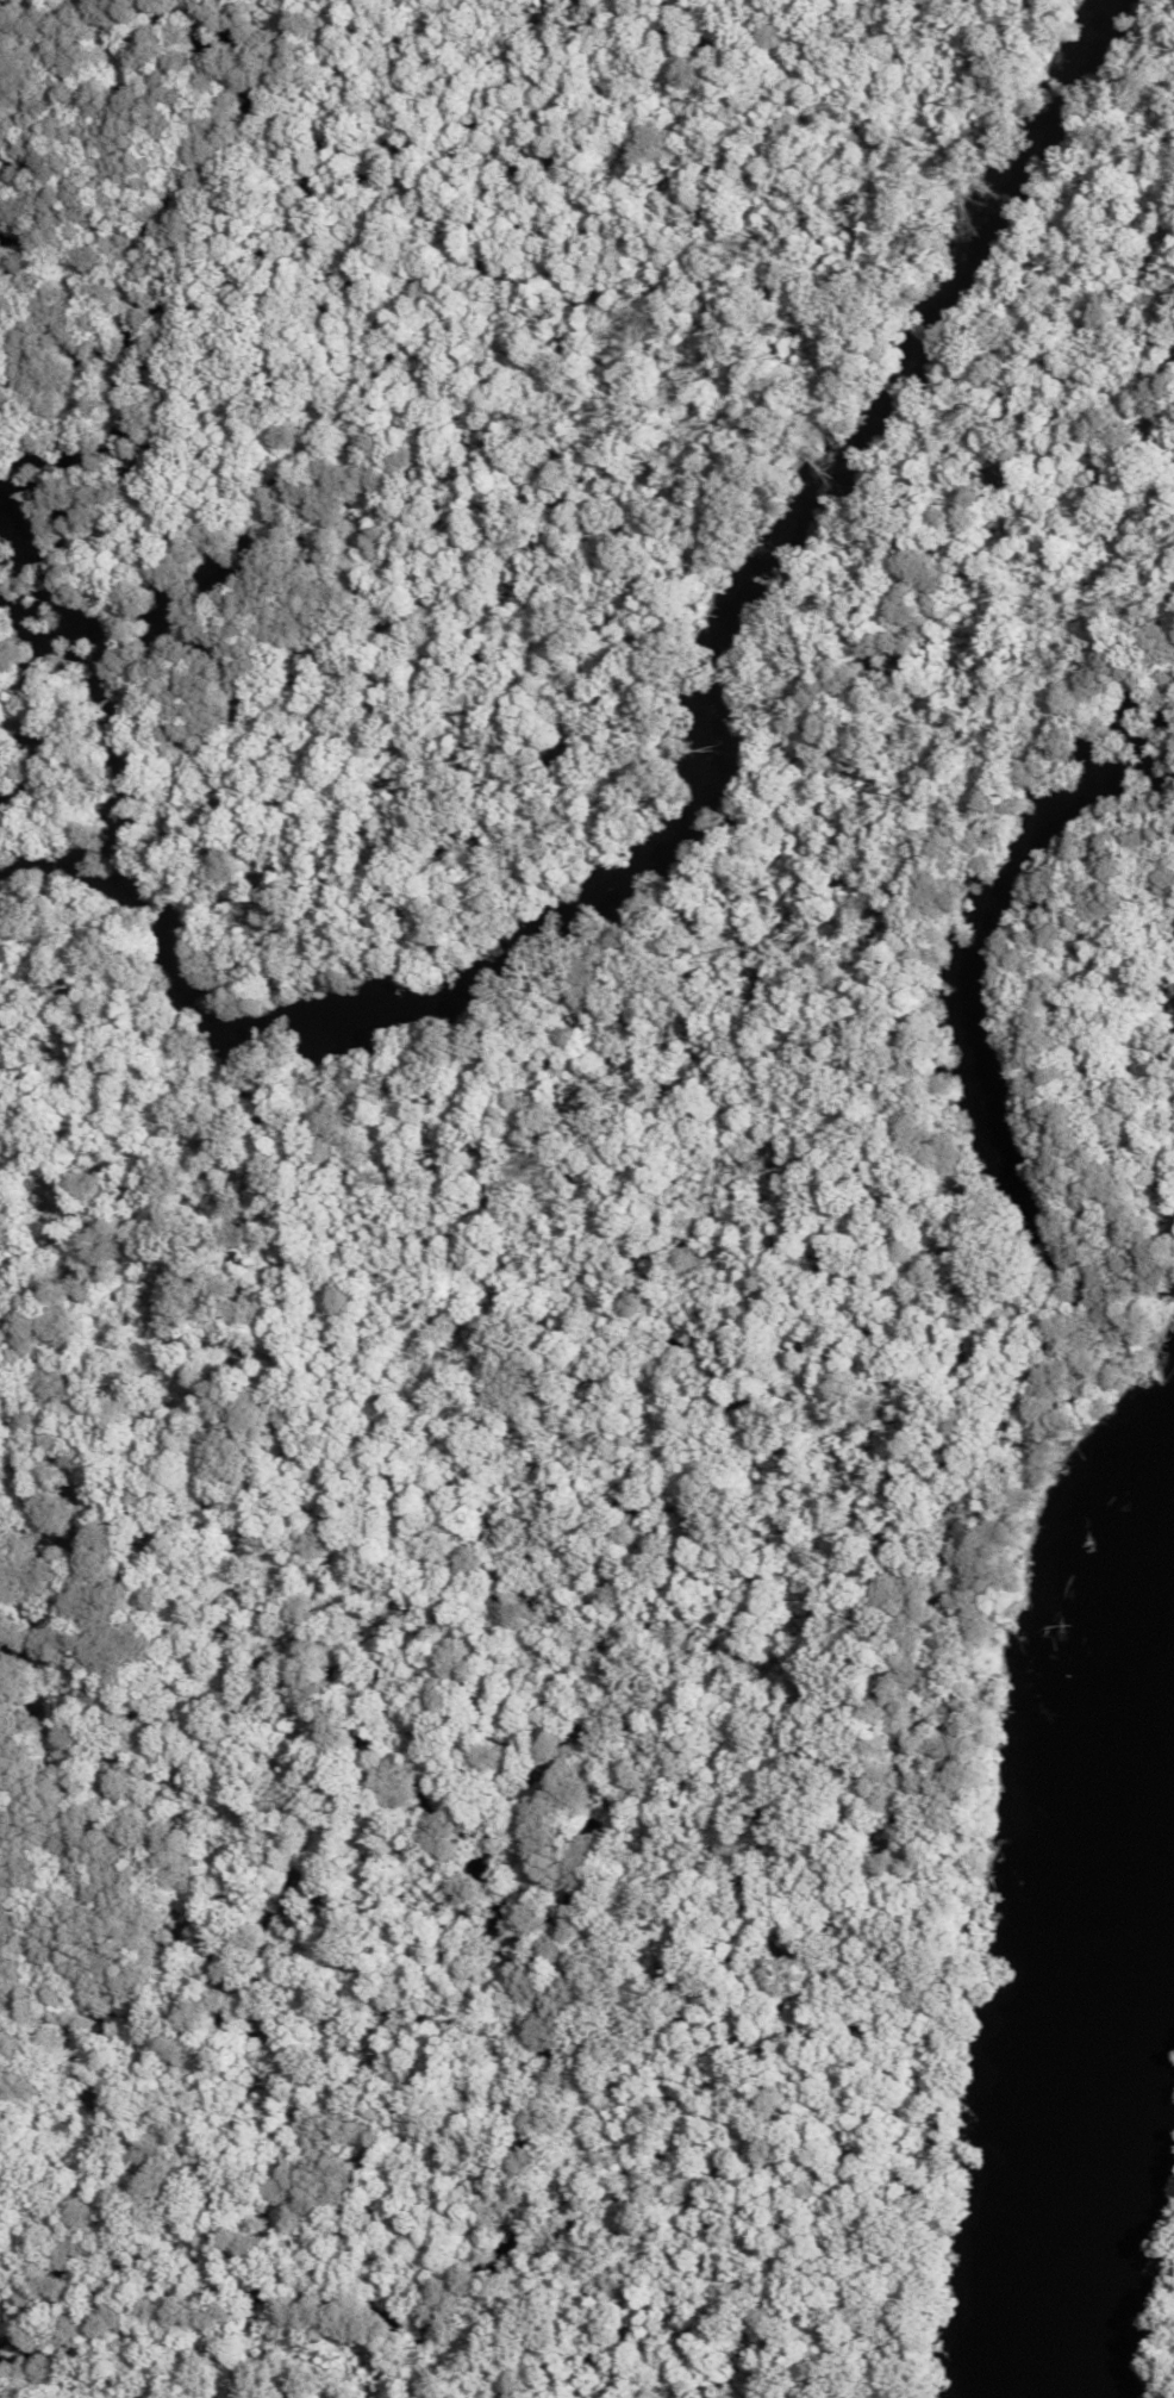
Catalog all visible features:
river: (697, 761)
river: (1067, 1999)

